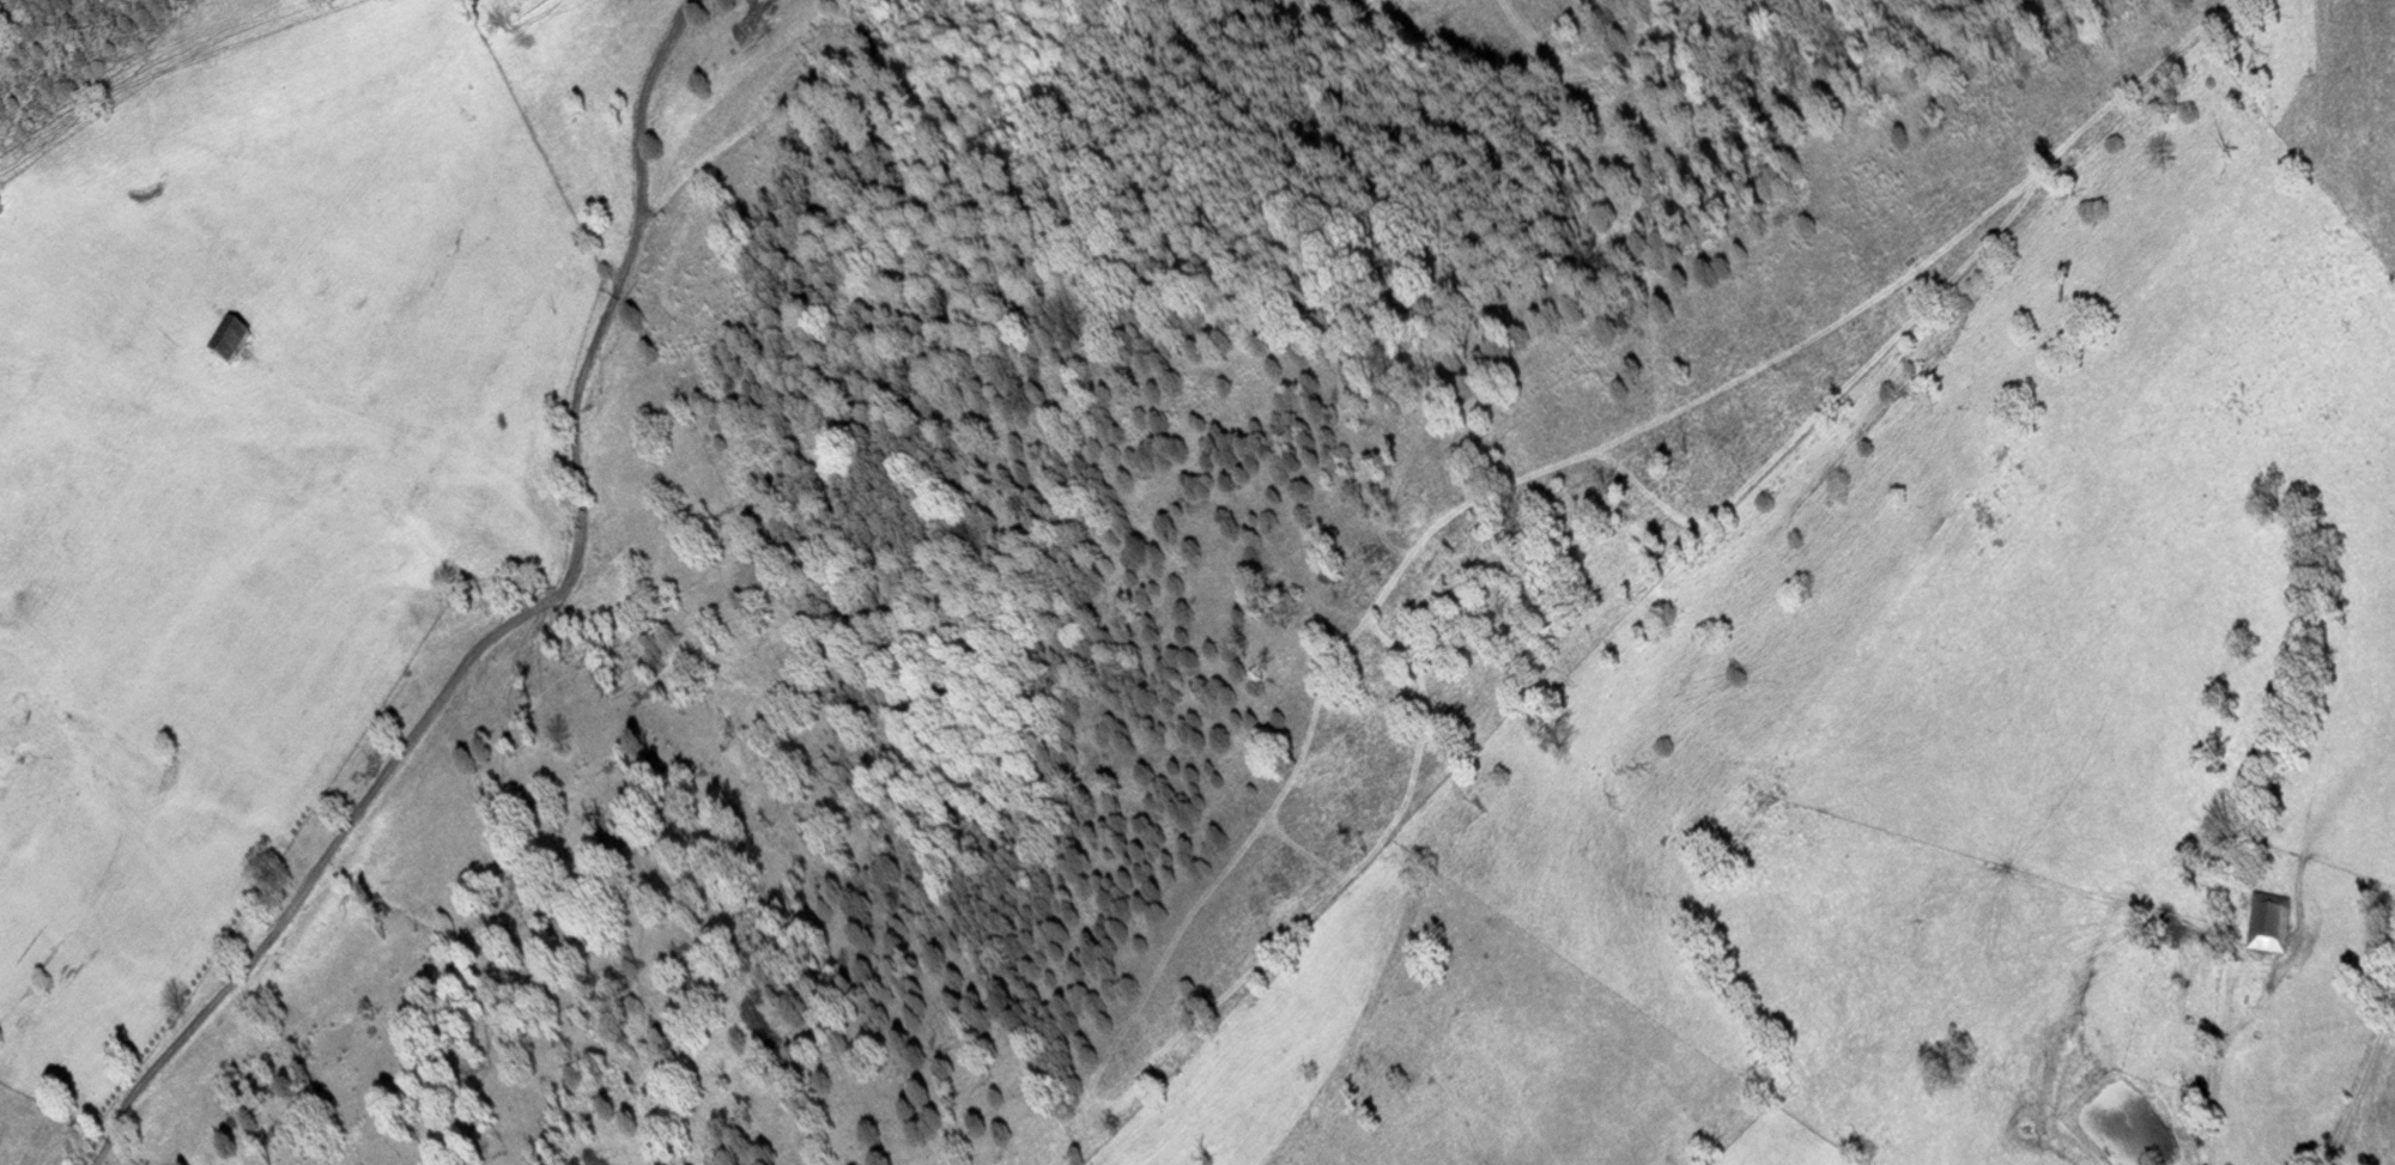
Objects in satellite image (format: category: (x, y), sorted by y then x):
building: (230, 344)
road: (508, 623)
building: (2269, 923)
road: (2297, 942)
road: (2361, 1088)
road: (1467, 1114)

